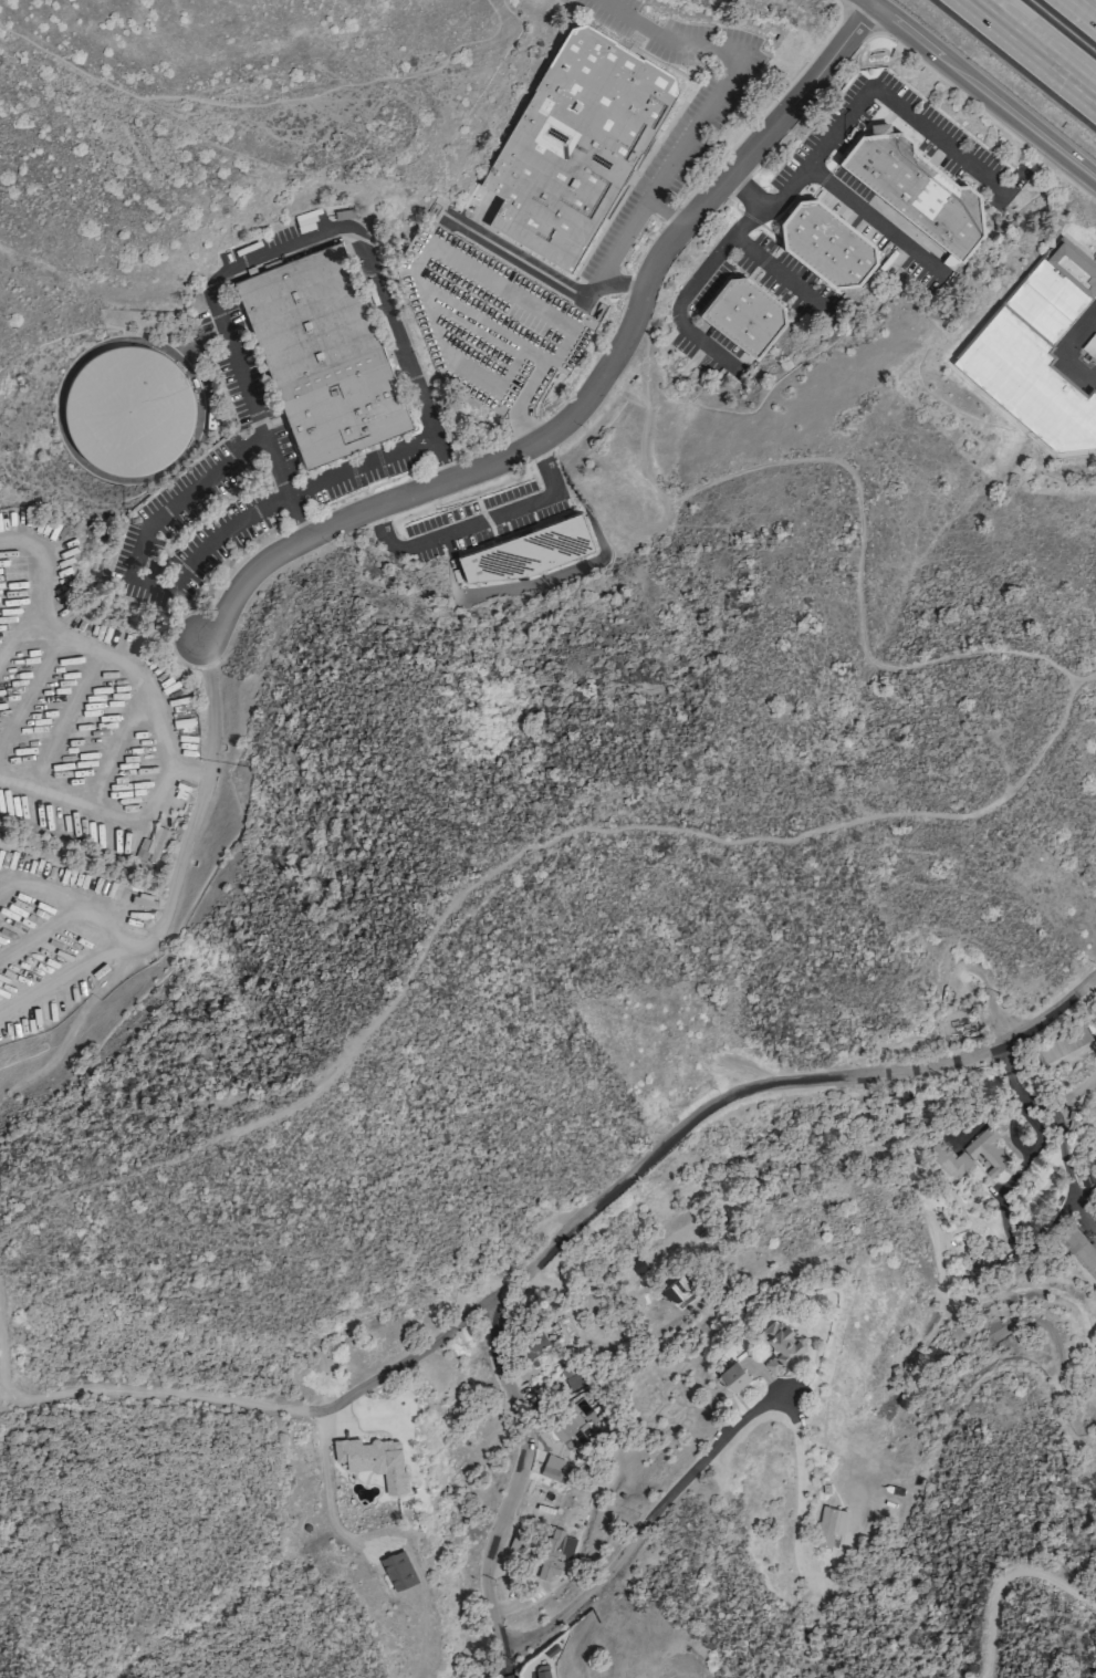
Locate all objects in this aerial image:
road: (1086, 7)
road: (1034, 49)
road: (722, 82)
road: (981, 90)
road: (261, 104)
road: (855, 105)
building: (575, 145)
building: (917, 188)
road: (870, 220)
building: (827, 243)
road: (359, 247)
road: (610, 260)
road: (524, 263)
road: (777, 272)
road: (690, 286)
building: (744, 313)
building: (1037, 351)
building: (322, 354)
road: (594, 388)
road: (249, 397)
building: (126, 410)
storage tank: (126, 410)
road: (437, 449)
road: (359, 465)
road: (296, 515)
road: (477, 521)
building: (524, 552)
road: (45, 561)
road: (131, 570)
road: (15, 645)
road: (133, 665)
road: (1083, 682)
road: (32, 698)
road: (67, 721)
road: (115, 746)
road: (185, 772)
parking lot: (91, 791)
road: (96, 814)
road: (191, 816)
road: (875, 819)
building: (154, 844)
road: (6, 886)
road: (42, 929)
road: (108, 931)
building: (1062, 1045)
road: (773, 1086)
building: (987, 1149)
building: (949, 1159)
building: (1078, 1250)
building: (638, 1265)
road: (582, 1289)
building: (676, 1289)
building: (532, 1344)
building: (780, 1344)
road: (413, 1357)
building: (572, 1375)
building: (732, 1376)
road: (150, 1396)
building: (572, 1428)
building: (373, 1459)
building: (552, 1468)
road: (325, 1479)
road: (907, 1509)
building: (828, 1525)
building: (553, 1556)
building: (398, 1568)
road: (1004, 1578)
road: (509, 1645)
road: (678, 1667)
building: (541, 1670)

